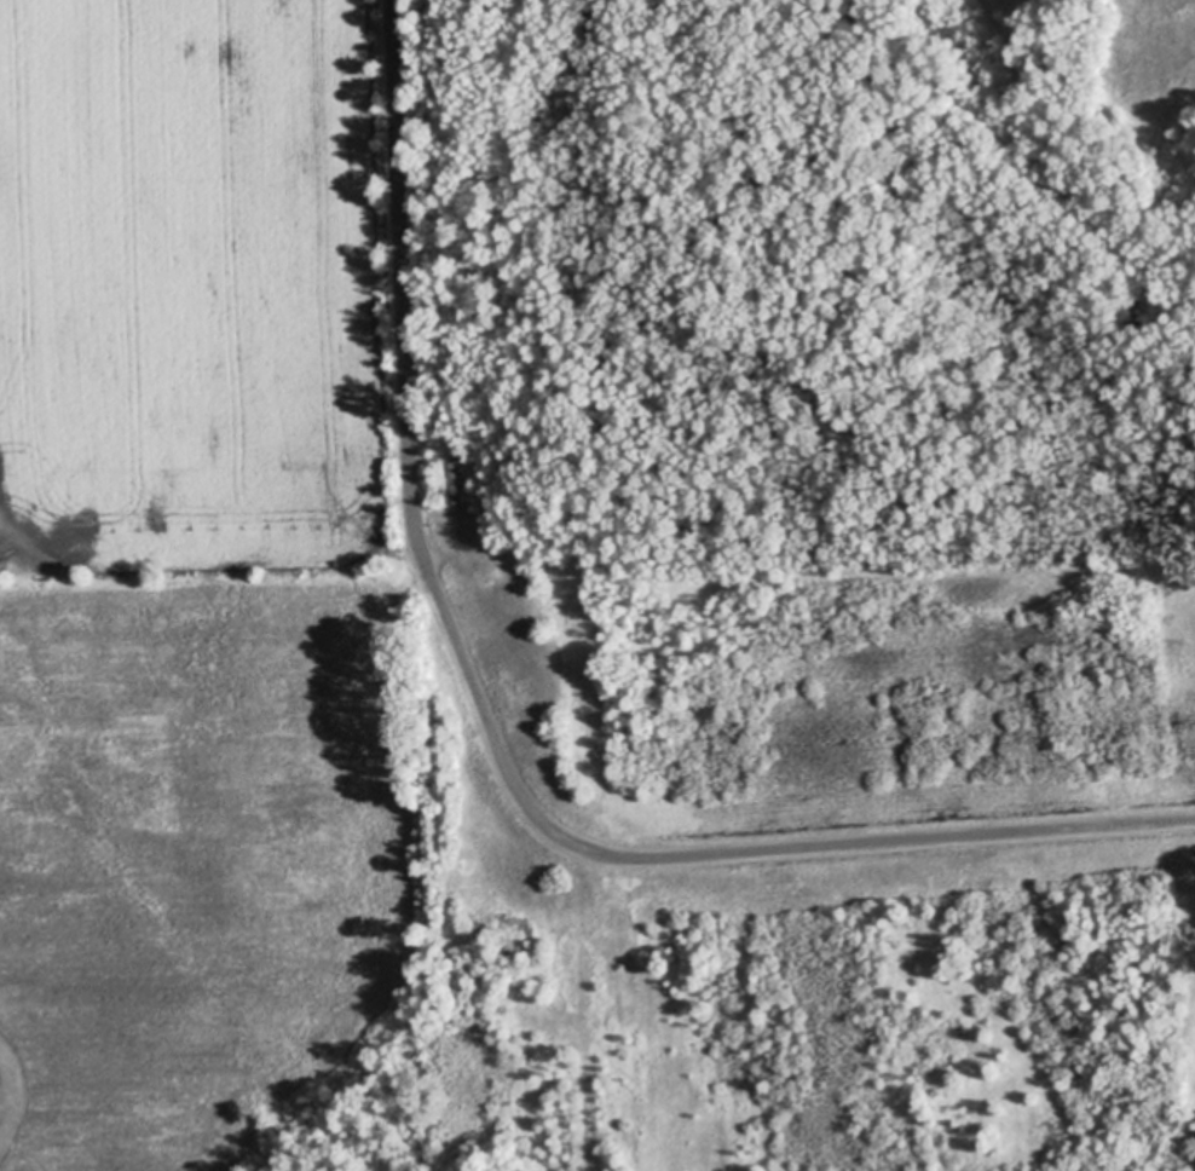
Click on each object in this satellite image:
road: (406, 263)
road: (703, 855)

